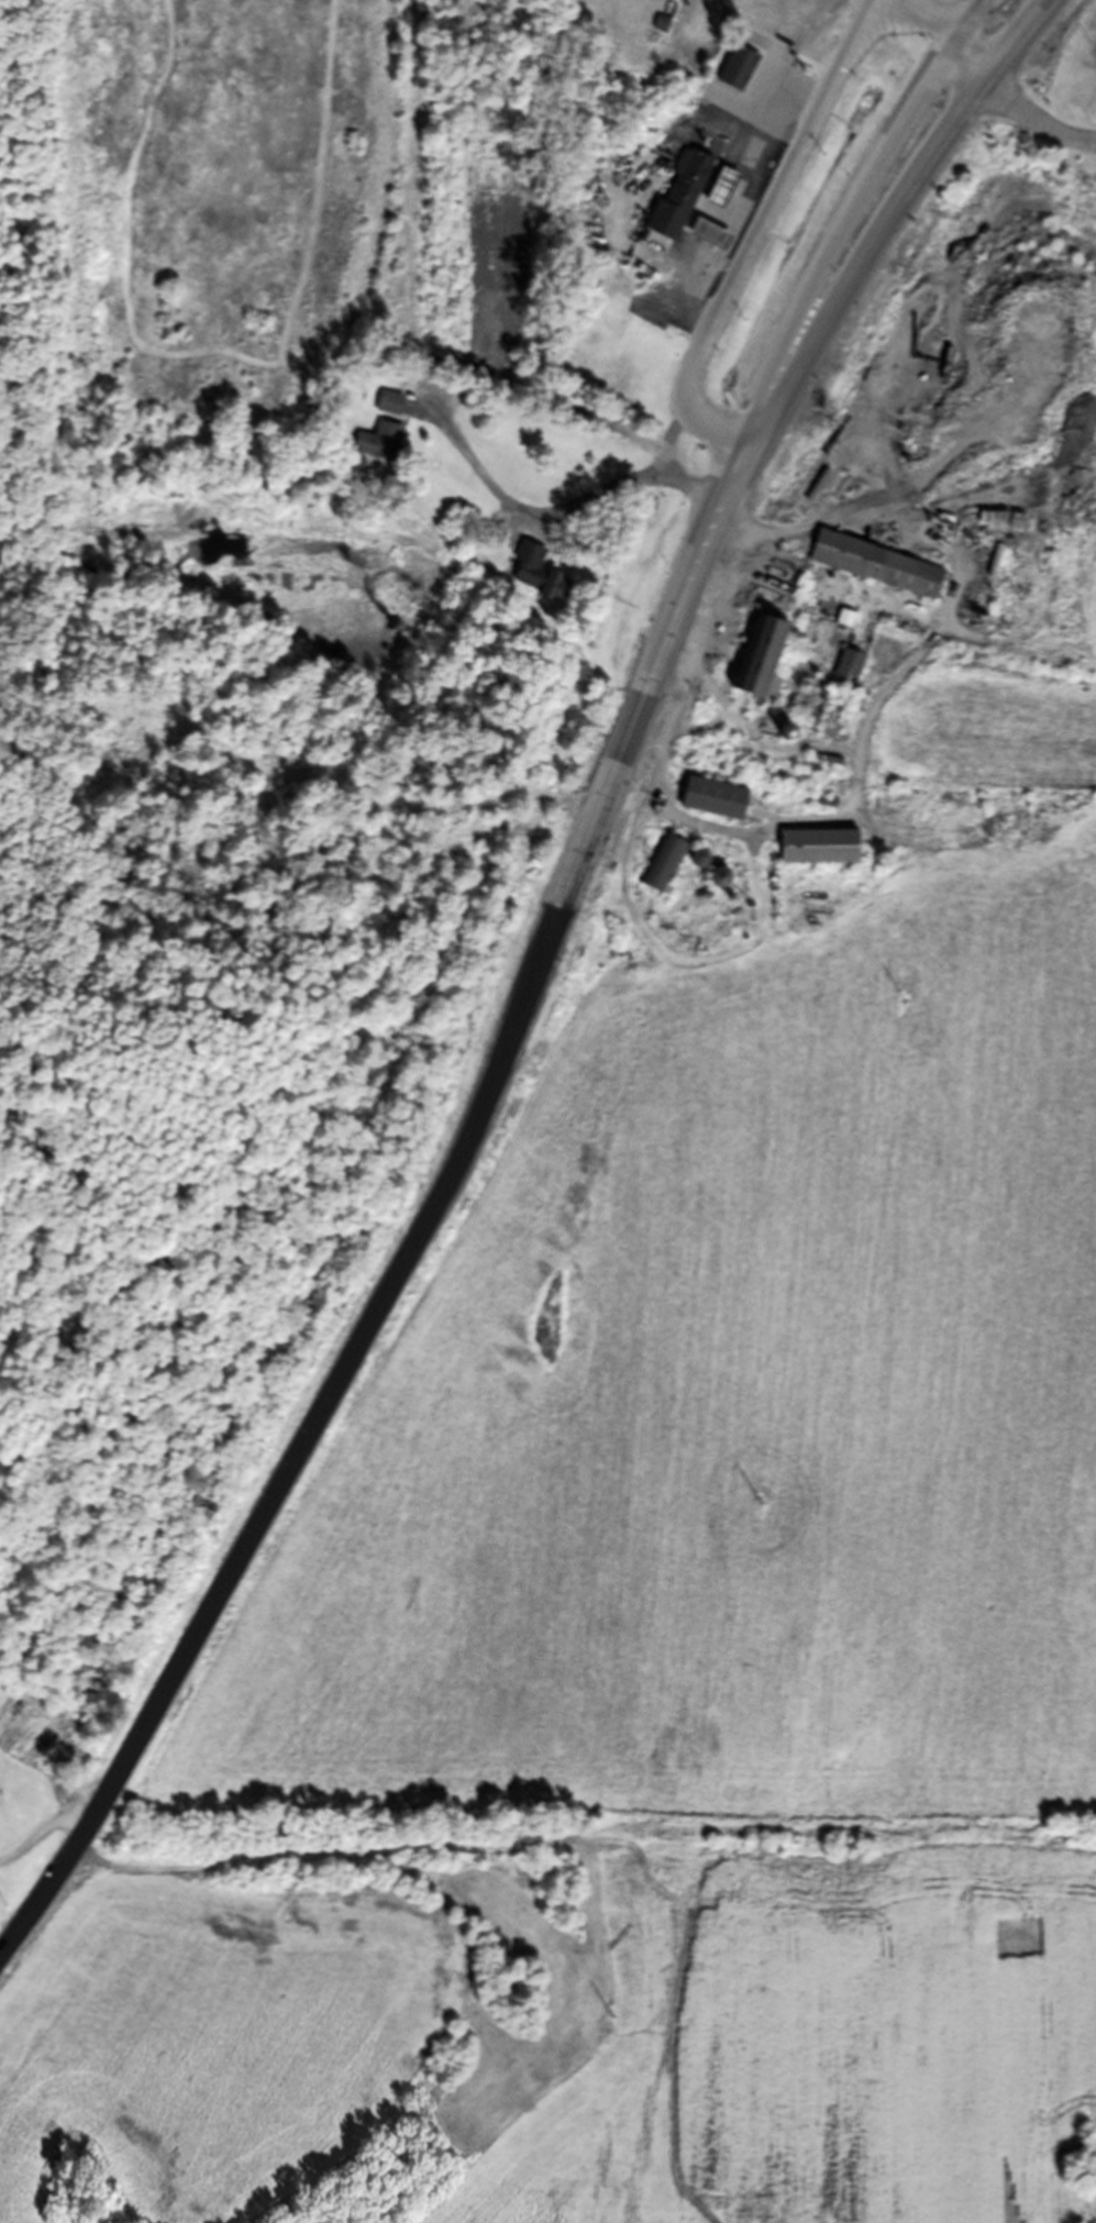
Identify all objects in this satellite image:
road: (1039, 14)
road: (930, 24)
road: (1018, 38)
road: (973, 63)
building: (737, 70)
road: (1038, 120)
road: (783, 170)
building: (721, 188)
gas station: (721, 188)
building: (678, 197)
building: (707, 235)
road: (820, 277)
road: (664, 298)
road: (824, 319)
building: (389, 407)
road: (689, 414)
building: (377, 451)
road: (665, 466)
road: (521, 510)
building: (876, 568)
building: (538, 577)
building: (761, 664)
building: (846, 672)
building: (715, 803)
building: (819, 851)
building: (665, 866)
road: (390, 1287)
building: (4, 1799)
road: (42, 1825)

